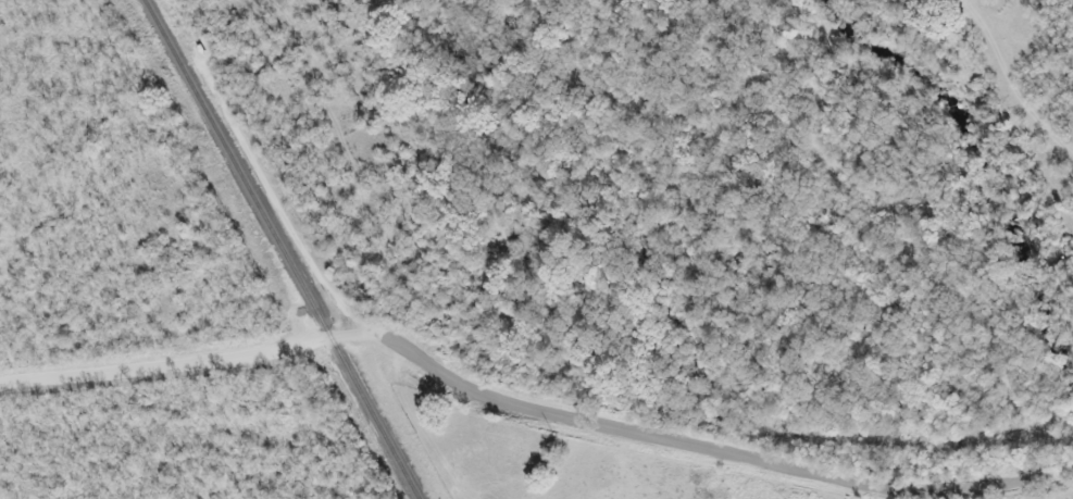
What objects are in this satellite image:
river: (981, 172)
railway: (276, 249)
road: (522, 403)
road: (1064, 471)

